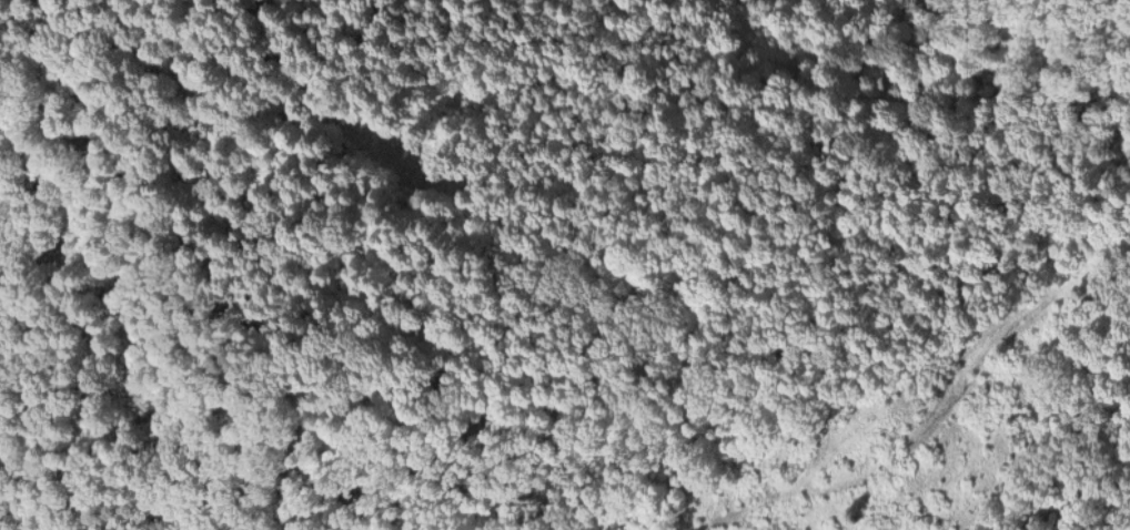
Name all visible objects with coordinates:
road: (2, 241)
road: (931, 417)

